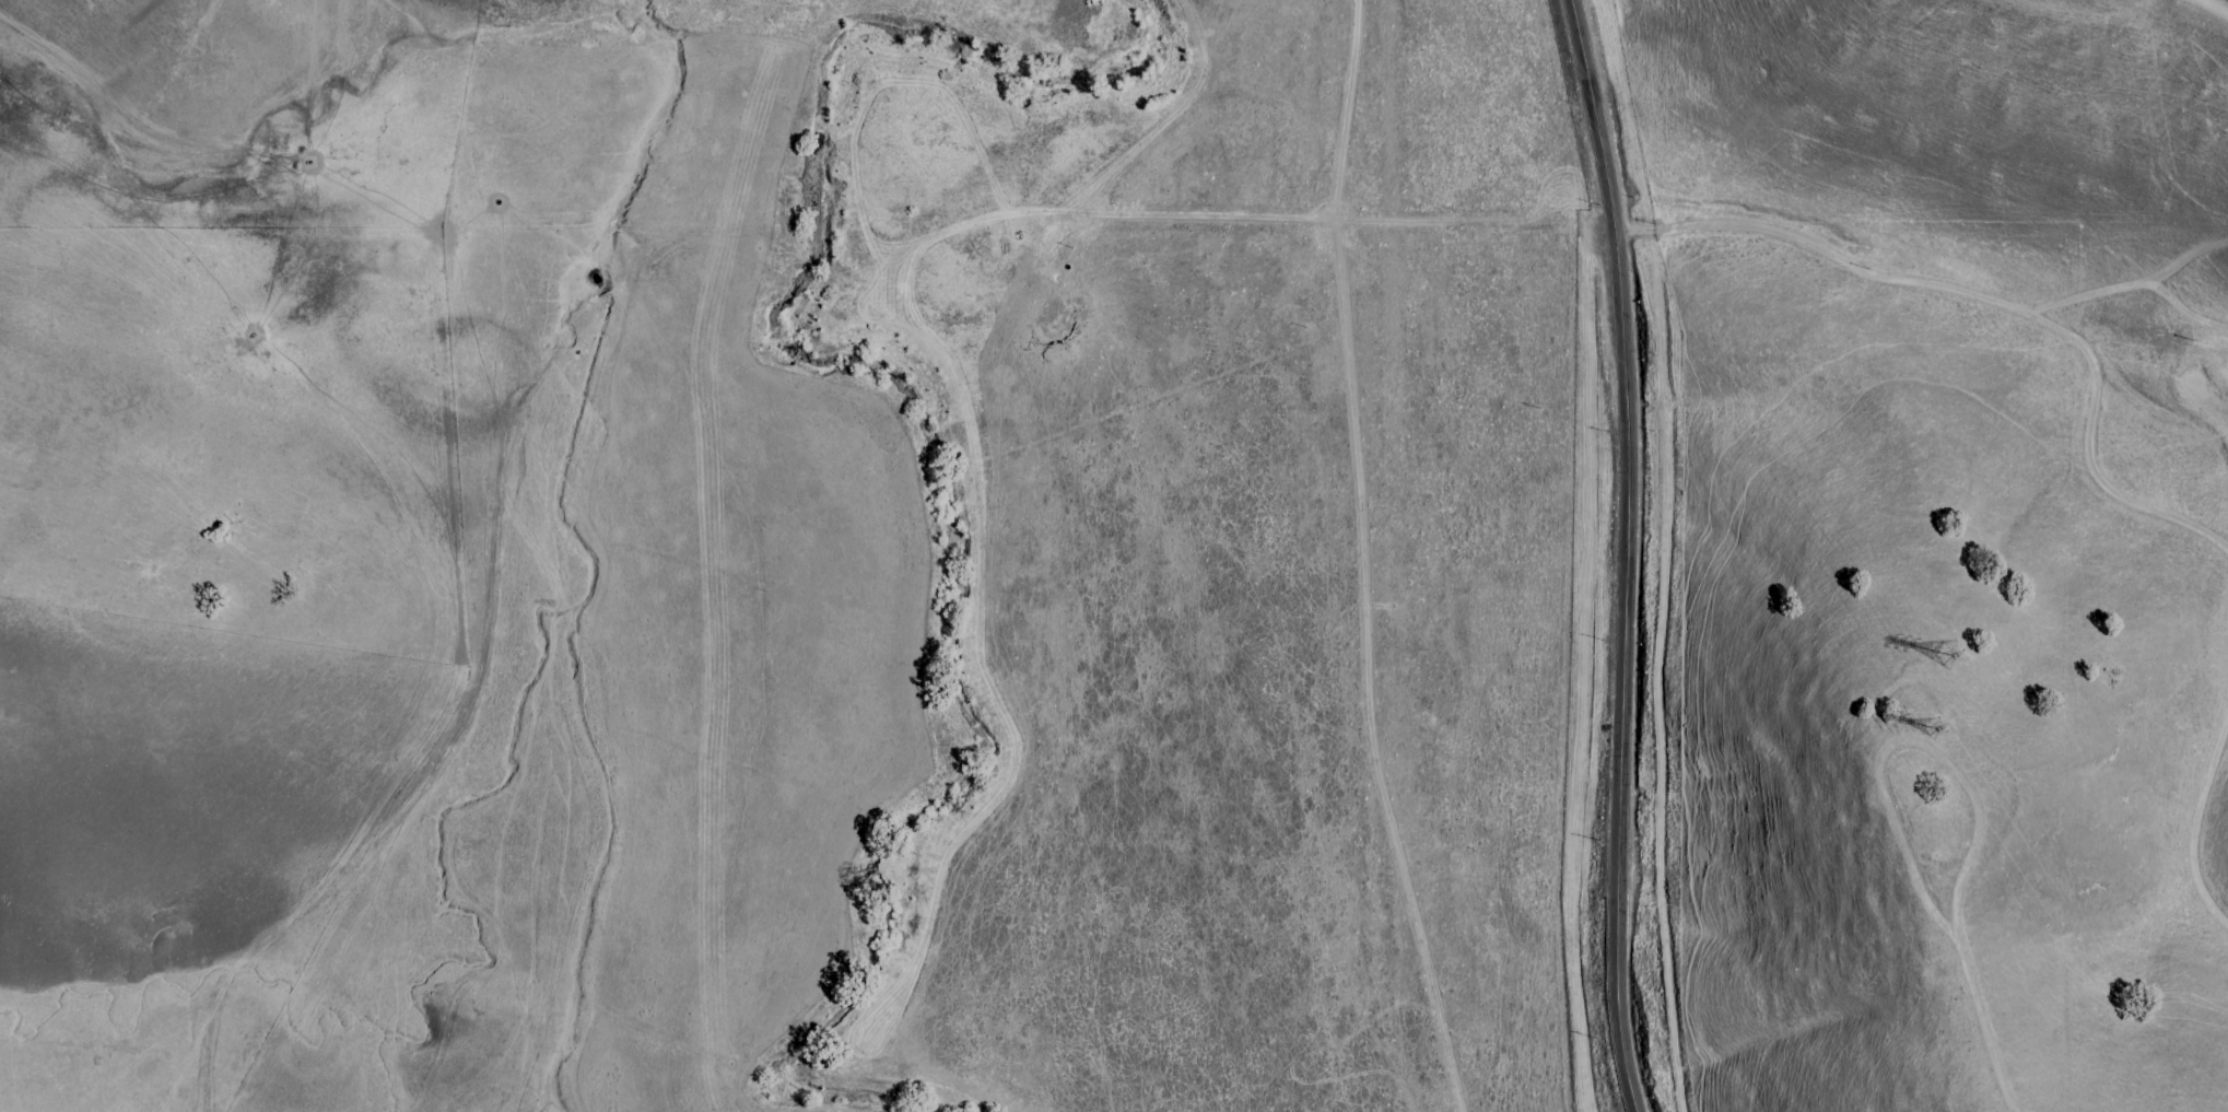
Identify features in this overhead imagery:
road: (1625, 554)
road: (1363, 561)
power tower: (1950, 653)
power tower: (1944, 733)

